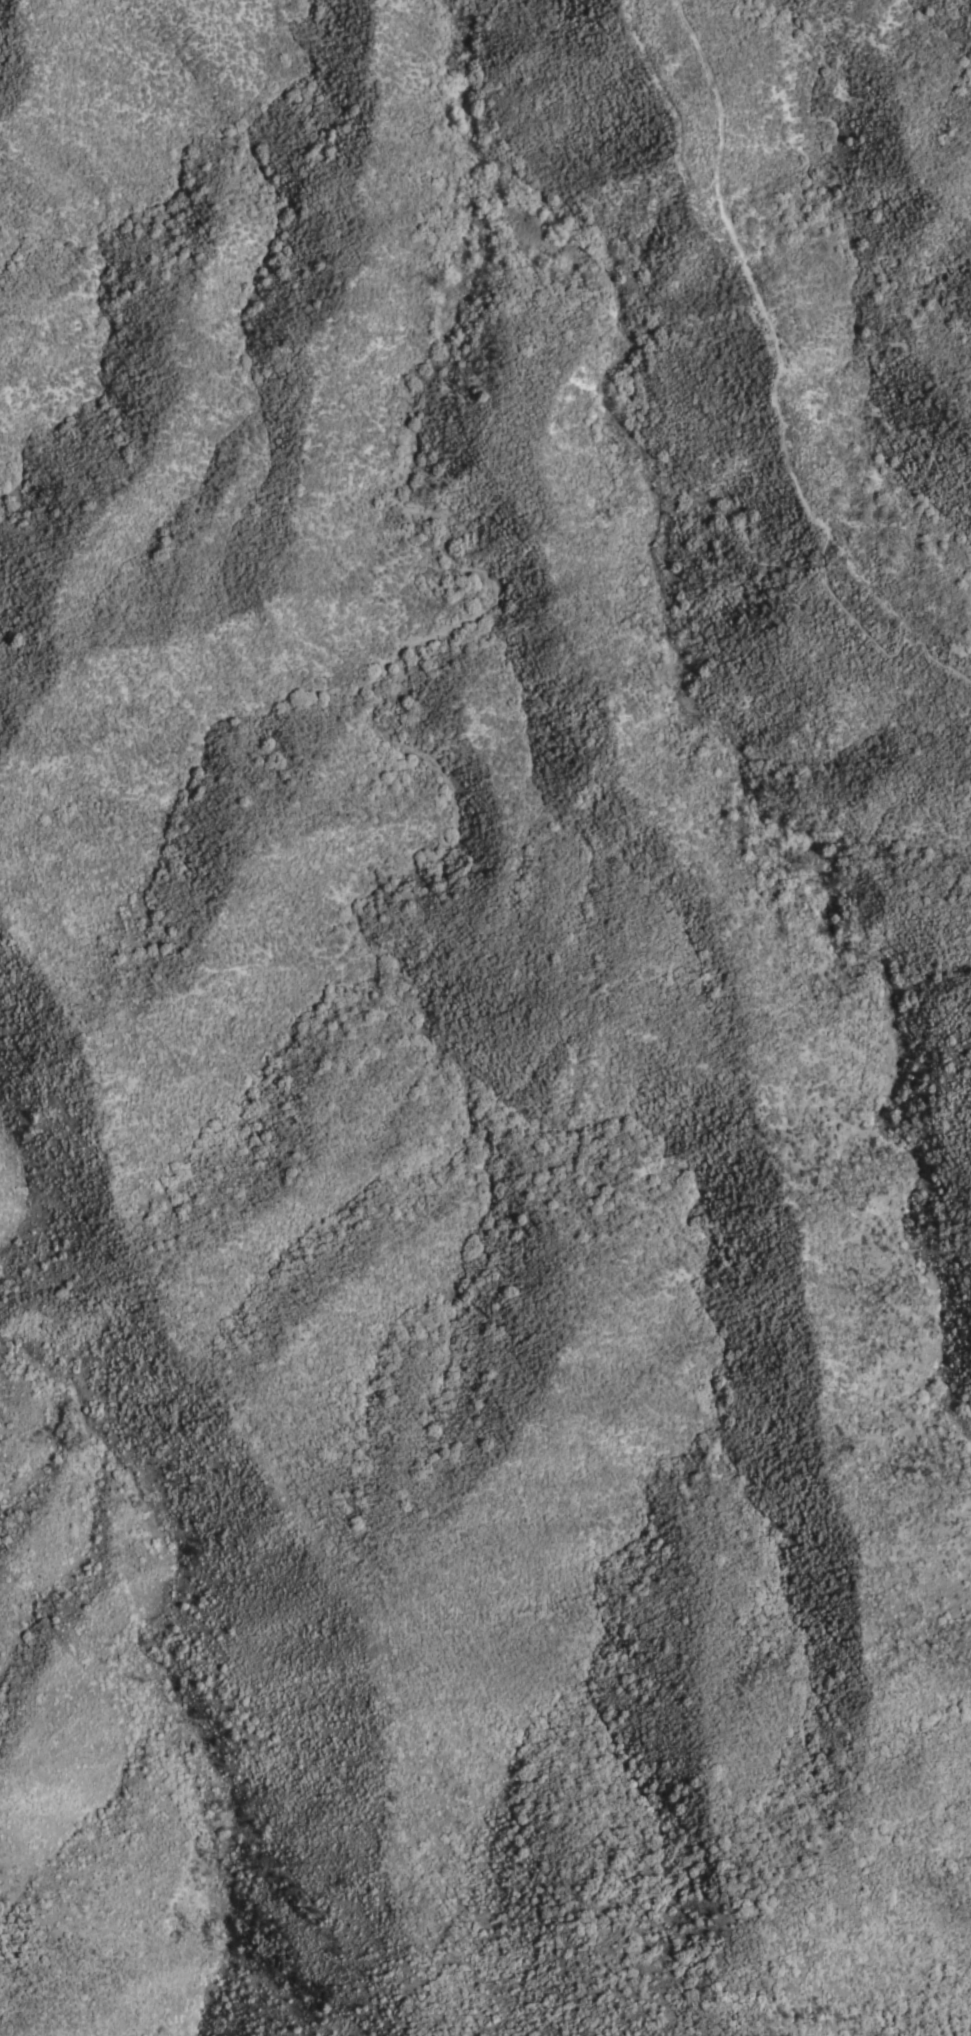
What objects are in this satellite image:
road: (773, 395)

